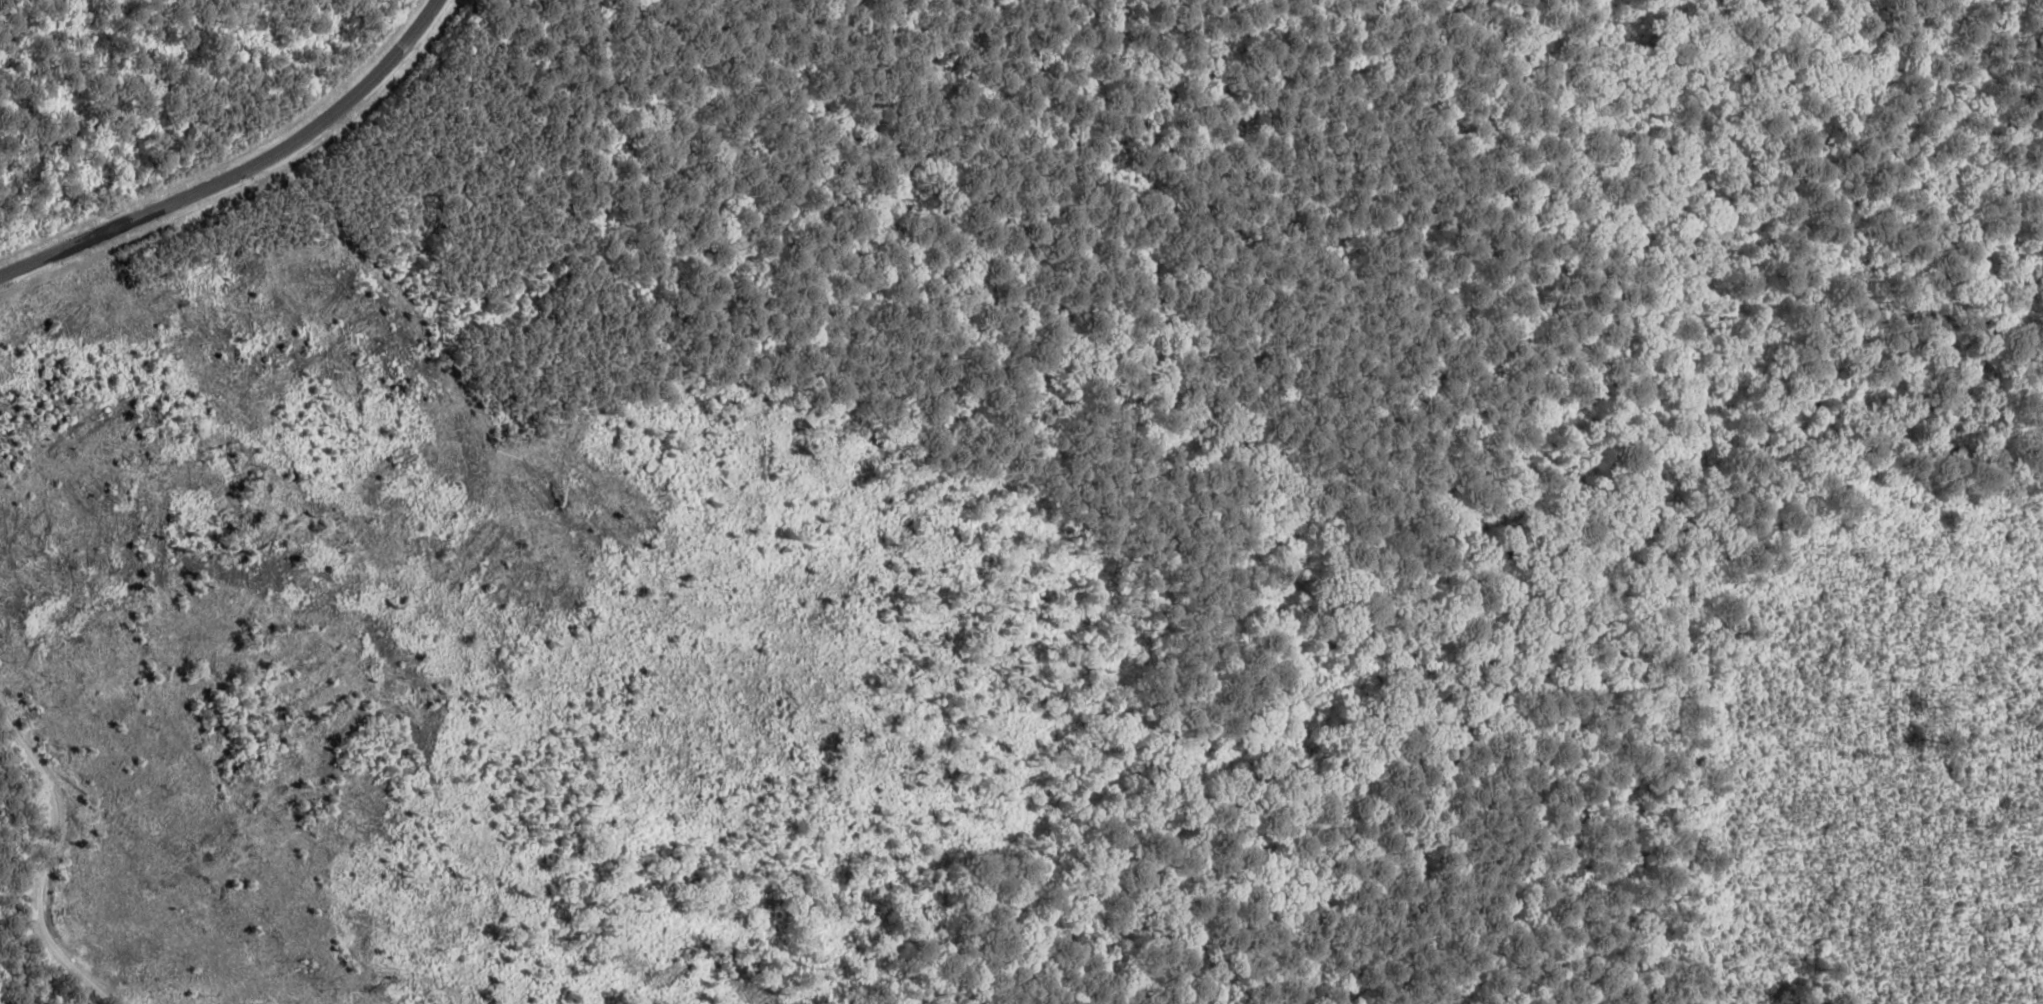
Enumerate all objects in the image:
road: (242, 169)

